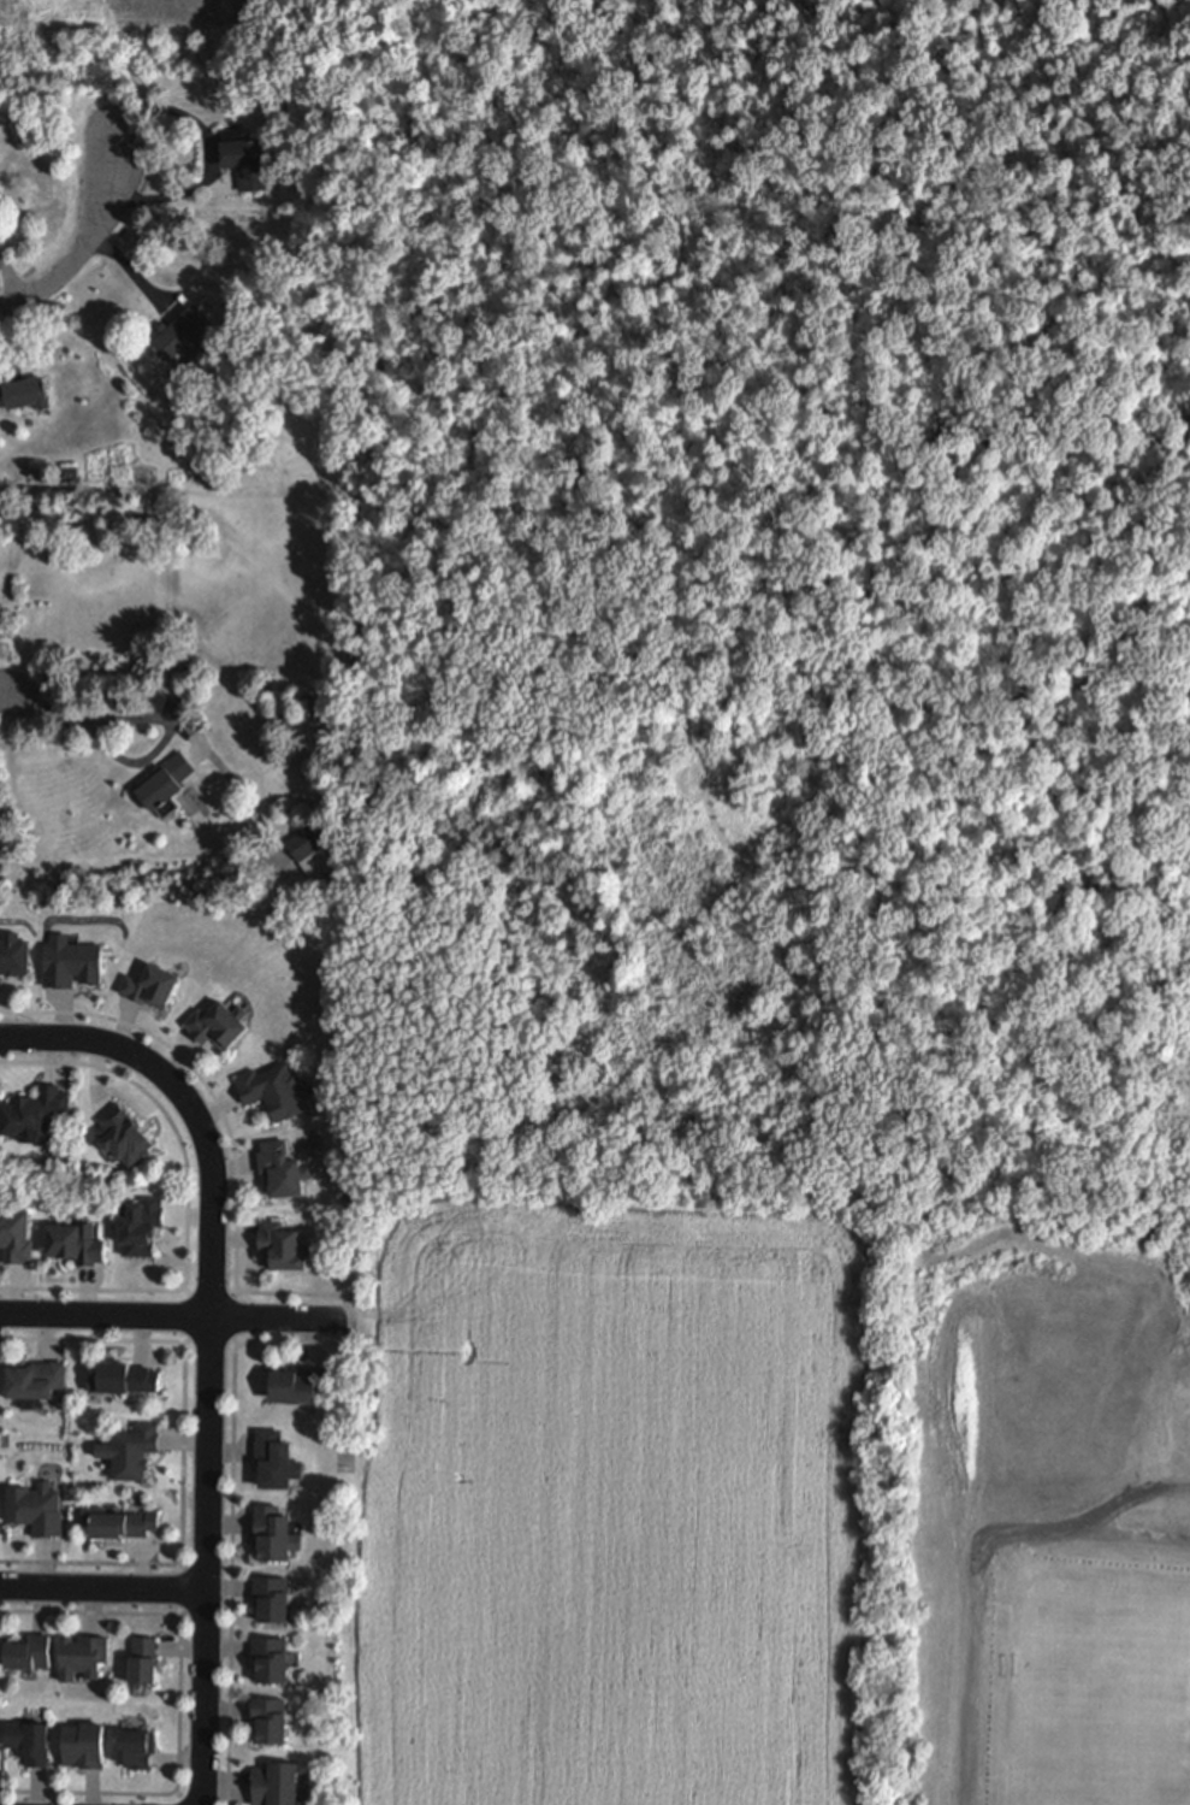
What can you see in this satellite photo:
building: (245, 159)
road: (208, 164)
road: (87, 246)
building: (182, 332)
building: (25, 391)
road: (4, 695)
road: (70, 712)
building: (165, 780)
building: (310, 851)
building: (13, 954)
building: (67, 962)
building: (150, 985)
building: (219, 1022)
building: (272, 1089)
road: (190, 1105)
building: (34, 1110)
road: (226, 1127)
building: (120, 1136)
building: (282, 1168)
road: (185, 1201)
building: (137, 1225)
building: (14, 1233)
building: (76, 1243)
building: (283, 1245)
road: (184, 1291)
road: (236, 1292)
road: (173, 1315)
road: (183, 1344)
road: (233, 1344)
building: (122, 1378)
building: (32, 1380)
building: (298, 1382)
building: (128, 1451)
road: (182, 1452)
building: (276, 1458)
crop: (617, 1500)
road: (1129, 1503)
park: (1035, 1506)
building: (36, 1508)
road: (230, 1520)
building: (117, 1522)
building: (271, 1530)
road: (1130, 1533)
road: (205, 1559)
road: (179, 1565)
road: (226, 1570)
road: (101, 1588)
road: (182, 1591)
building: (271, 1598)
road: (225, 1611)
road: (178, 1616)
road: (973, 1632)
building: (25, 1653)
building: (82, 1656)
building: (270, 1657)
building: (142, 1661)
park: (1101, 1683)
road: (177, 1704)
building: (268, 1720)
building: (29, 1741)
building: (83, 1745)
building: (136, 1748)
building: (274, 1783)
road: (177, 1797)
park: (1093, 1799)

